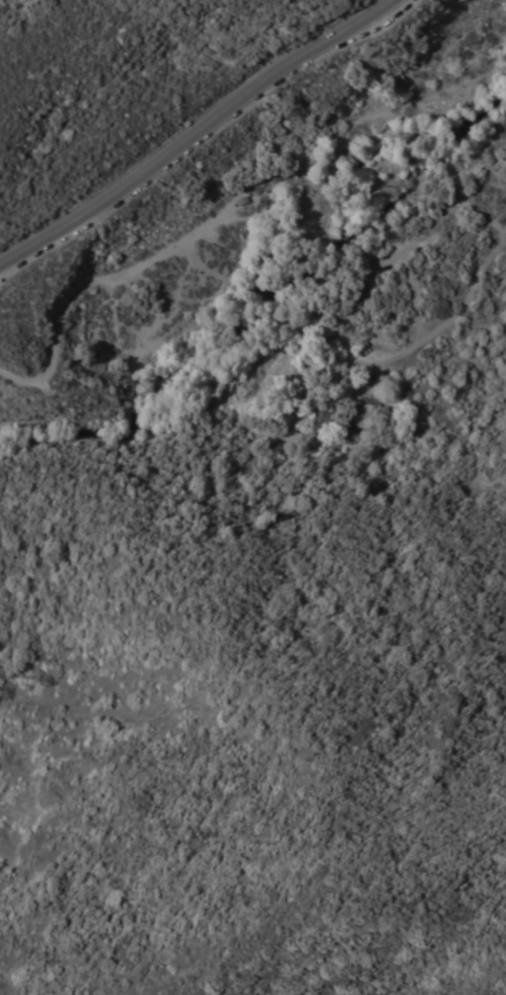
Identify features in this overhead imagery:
road: (193, 134)
road: (361, 274)
road: (97, 281)
building: (357, 288)
river: (277, 306)
building: (326, 411)
building: (368, 413)

